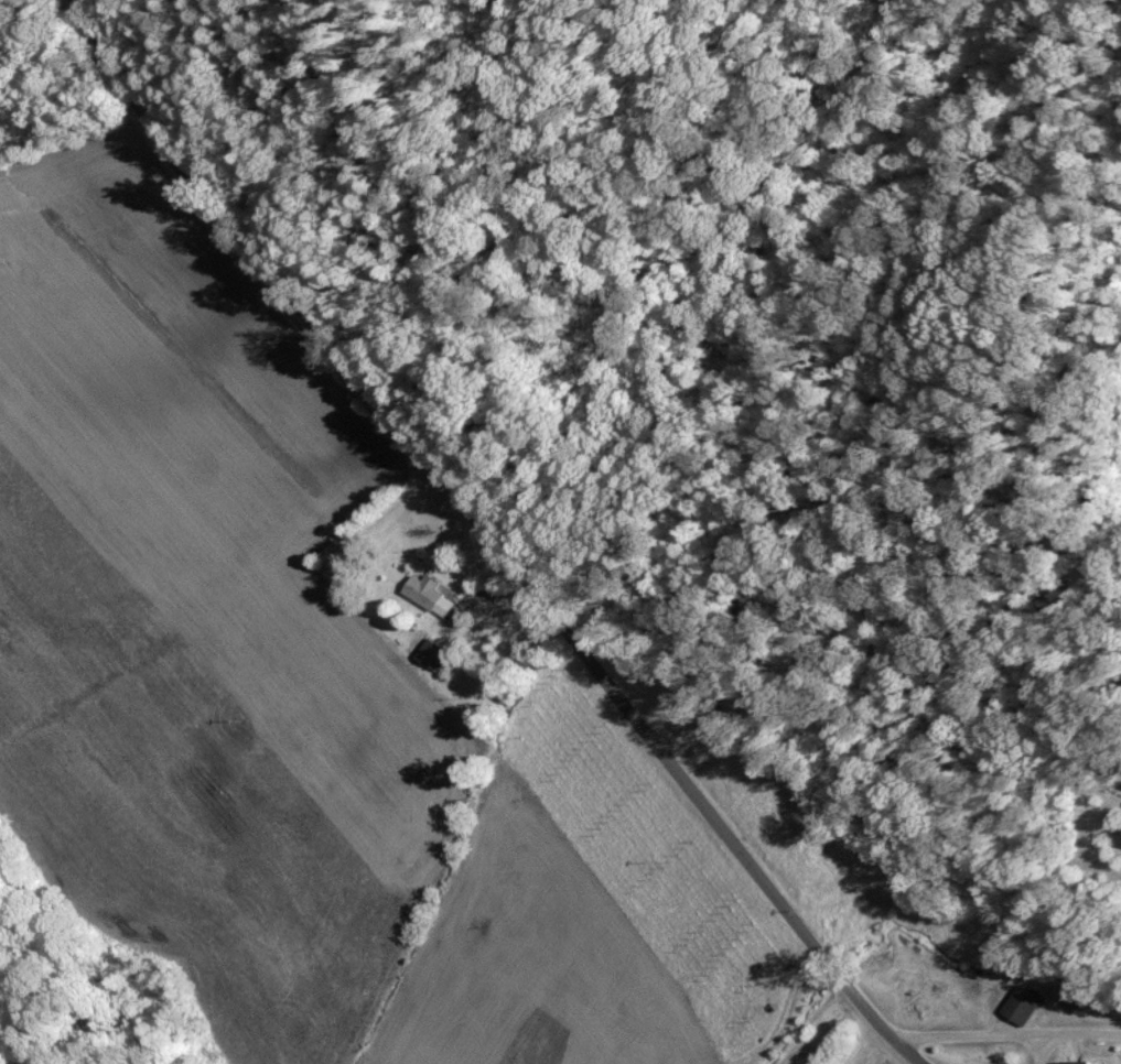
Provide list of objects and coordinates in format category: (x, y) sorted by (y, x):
road: (108, 48)
road: (531, 579)
building: (431, 594)
building: (435, 653)
building: (1118, 835)
building: (1016, 1006)
building: (1076, 1063)

